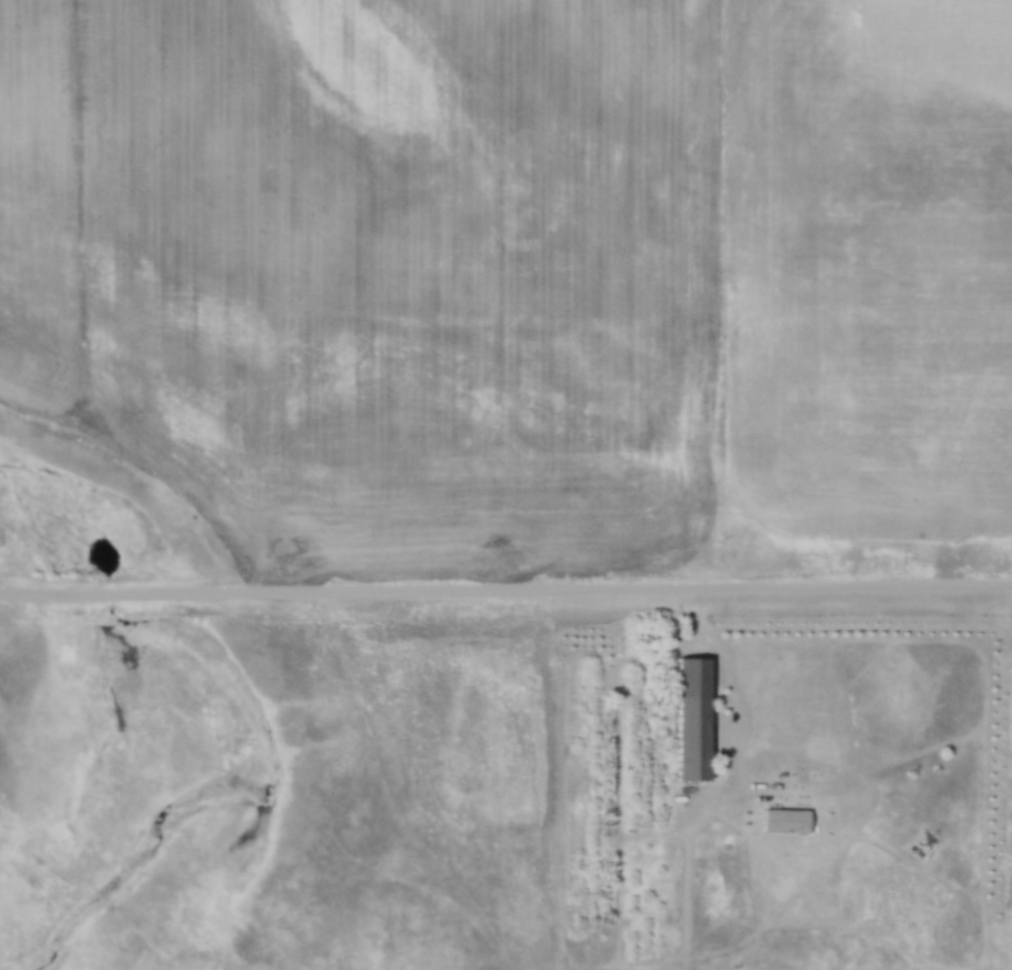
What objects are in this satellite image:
road: (505, 590)
road: (986, 636)
building: (687, 712)
building: (1011, 713)
silo: (1011, 713)
road: (757, 737)
building: (780, 815)

